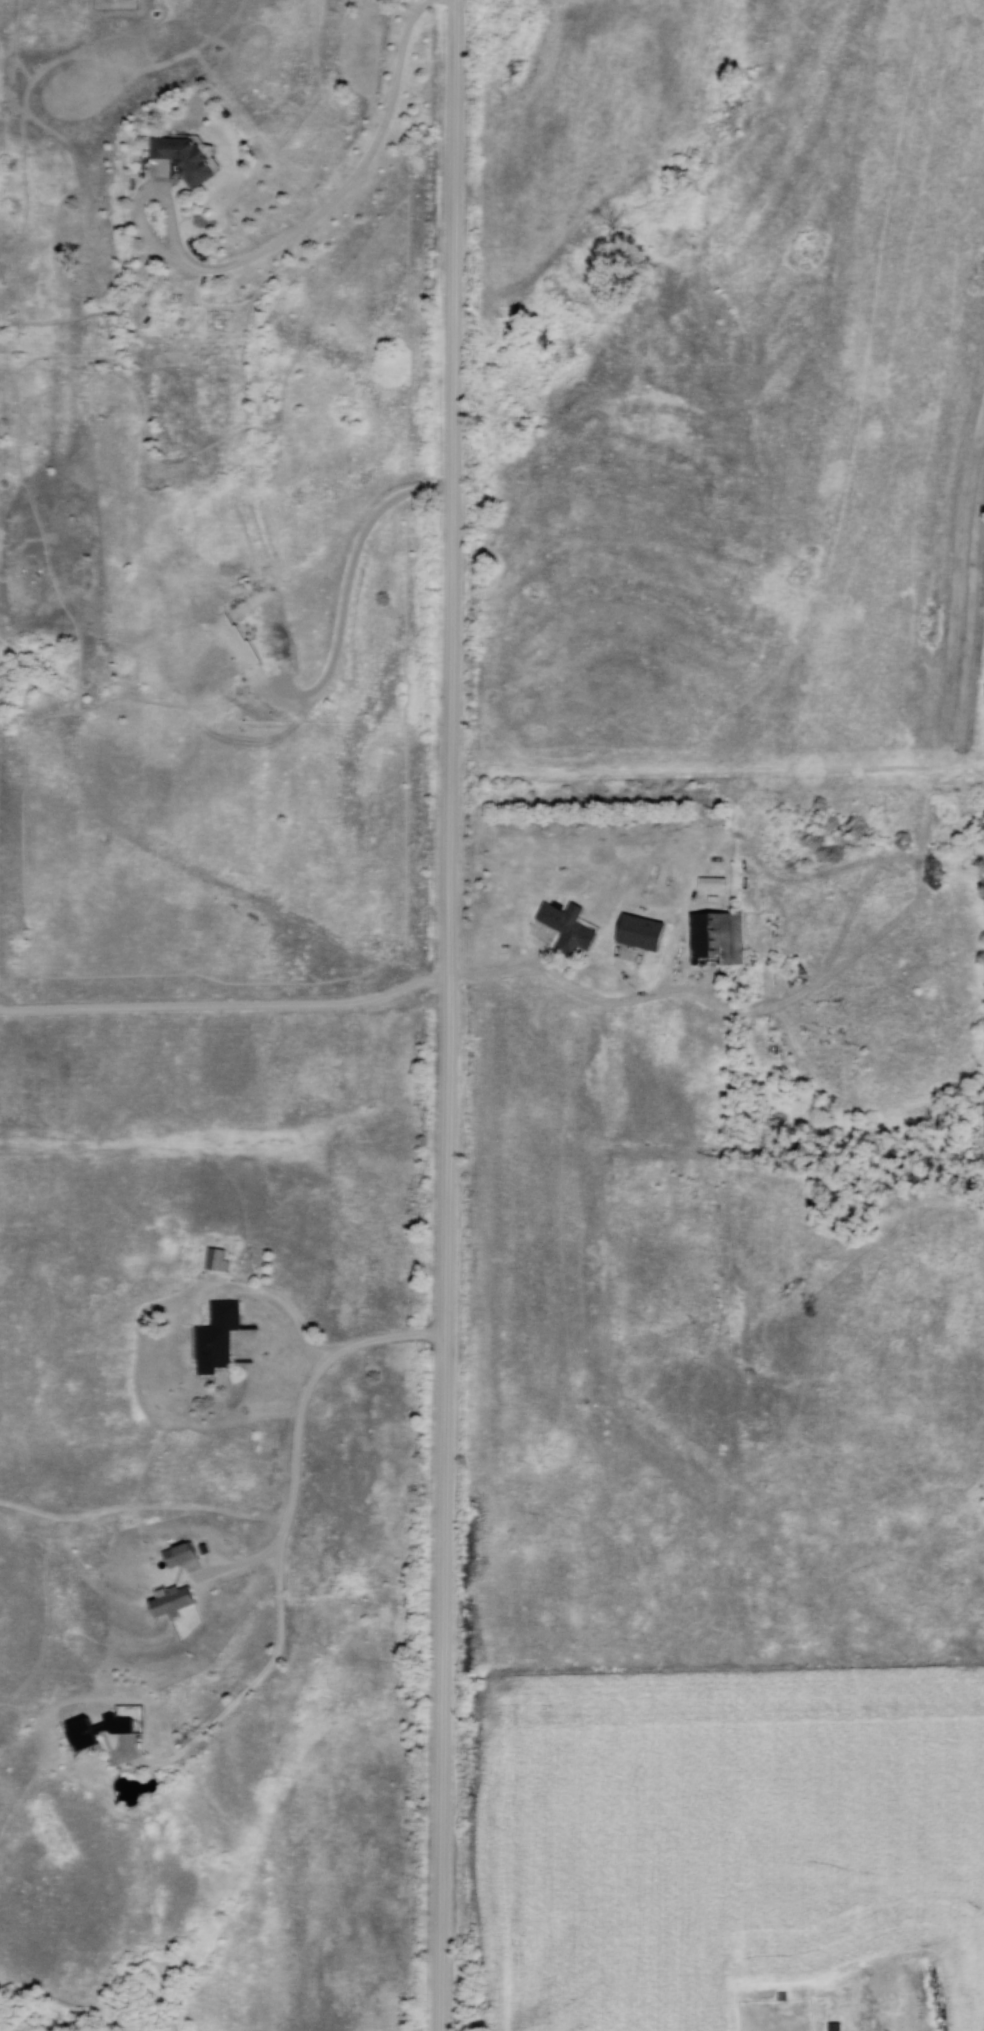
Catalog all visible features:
building: (180, 155)
road: (352, 183)
road: (149, 192)
road: (452, 398)
building: (158, 443)
road: (347, 594)
building: (571, 927)
building: (723, 937)
road: (573, 989)
road: (226, 1006)
road: (286, 1303)
building: (220, 1337)
road: (445, 1413)
road: (281, 1542)
building: (185, 1553)
building: (176, 1600)
building: (102, 1730)
building: (894, 1984)

